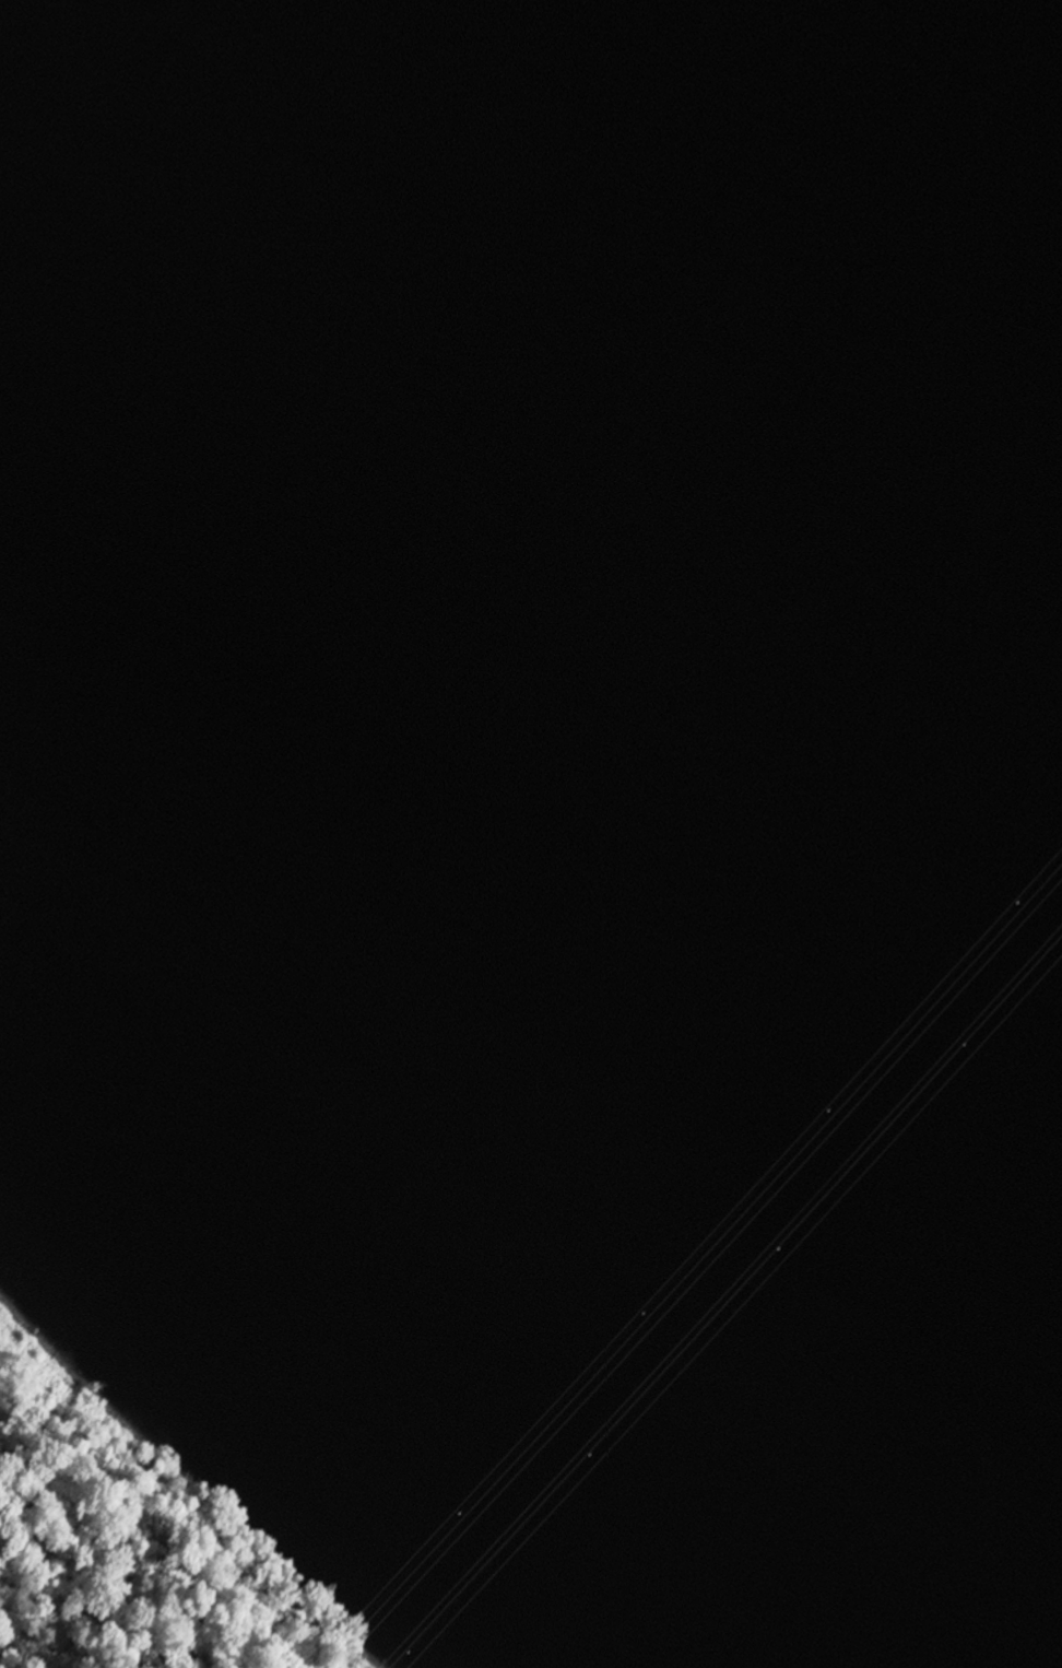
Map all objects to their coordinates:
river: (700, 268)

